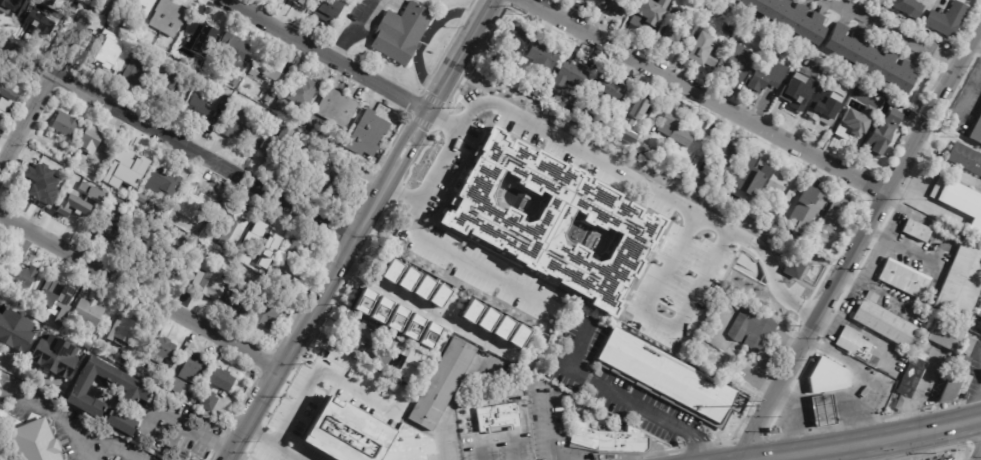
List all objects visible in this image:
building: (315, 0)
building: (588, 0)
building: (590, 0)
building: (629, 0)
building: (669, 0)
building: (671, 0)
building: (306, 1)
building: (659, 1)
building: (877, 1)
building: (67, 3)
building: (31, 7)
building: (138, 7)
building: (611, 7)
building: (908, 7)
building: (14, 8)
building: (629, 8)
building: (330, 9)
building: (713, 13)
building: (43, 16)
building: (171, 16)
building: (642, 19)
building: (788, 19)
building: (945, 20)
building: (674, 28)
road: (353, 29)
building: (200, 30)
building: (116, 31)
building: (689, 31)
building: (403, 33)
road: (896, 34)
building: (510, 48)
building: (236, 50)
building: (702, 52)
building: (103, 54)
road: (329, 56)
road: (464, 56)
building: (542, 57)
building: (871, 58)
building: (736, 63)
building: (270, 65)
building: (135, 74)
building: (569, 76)
building: (859, 76)
building: (763, 79)
building: (234, 82)
building: (835, 84)
road: (45, 86)
building: (172, 87)
building: (303, 90)
building: (534, 90)
building: (597, 92)
building: (857, 96)
building: (7, 99)
road: (705, 99)
building: (790, 99)
building: (225, 102)
building: (339, 107)
building: (634, 110)
building: (202, 111)
building: (818, 115)
road: (444, 122)
building: (239, 123)
building: (598, 124)
building: (66, 125)
road: (531, 125)
building: (849, 128)
building: (673, 129)
building: (371, 131)
building: (976, 132)
building: (890, 133)
road: (181, 135)
building: (92, 140)
building: (626, 140)
building: (108, 146)
building: (875, 147)
building: (273, 149)
building: (642, 150)
building: (724, 152)
building: (66, 157)
building: (965, 159)
building: (127, 164)
building: (308, 164)
building: (692, 164)
building: (752, 169)
building: (682, 173)
building: (339, 175)
building: (700, 180)
building: (165, 181)
building: (45, 184)
building: (776, 184)
building: (108, 193)
building: (90, 194)
road: (401, 195)
building: (727, 195)
building: (787, 196)
building: (142, 198)
building: (194, 200)
building: (811, 200)
building: (960, 202)
building: (80, 203)
building: (117, 204)
building: (831, 216)
building: (771, 219)
building: (232, 224)
building: (781, 227)
building: (114, 230)
building: (171, 230)
building: (916, 230)
building: (183, 241)
building: (261, 243)
road: (860, 246)
building: (1, 250)
building: (145, 251)
building: (295, 261)
building: (236, 264)
building: (794, 268)
building: (182, 269)
building: (23, 277)
building: (905, 278)
building: (212, 280)
building: (961, 282)
building: (421, 285)
road: (331, 287)
road: (141, 288)
building: (3, 290)
building: (59, 294)
building: (17, 300)
building: (363, 301)
building: (240, 302)
building: (269, 311)
building: (978, 311)
building: (88, 312)
road: (429, 312)
building: (401, 313)
building: (35, 314)
building: (885, 323)
building: (499, 324)
building: (15, 330)
building: (752, 330)
building: (358, 332)
building: (125, 335)
building: (945, 335)
building: (853, 343)
road: (342, 347)
building: (162, 349)
building: (56, 356)
building: (332, 357)
building: (412, 362)
building: (705, 363)
building: (194, 368)
road: (27, 373)
road: (318, 373)
road: (857, 375)
building: (911, 376)
building: (663, 377)
building: (224, 379)
building: (828, 382)
building: (936, 382)
building: (954, 383)
building: (179, 385)
building: (444, 385)
building: (80, 395)
road: (628, 400)
building: (209, 402)
building: (307, 404)
building: (898, 405)
road: (976, 405)
building: (820, 413)
gas station: (820, 413)
building: (294, 415)
road: (799, 415)
building: (498, 418)
road: (73, 421)
road: (547, 421)
road: (193, 432)
road: (498, 435)
building: (606, 440)
building: (367, 442)
building: (37, 443)
road: (82, 444)
road: (443, 444)
road: (271, 445)
road: (859, 445)
road: (870, 452)
road: (833, 454)
road: (978, 455)
road: (781, 457)
road: (745, 459)
building: (949, 459)

